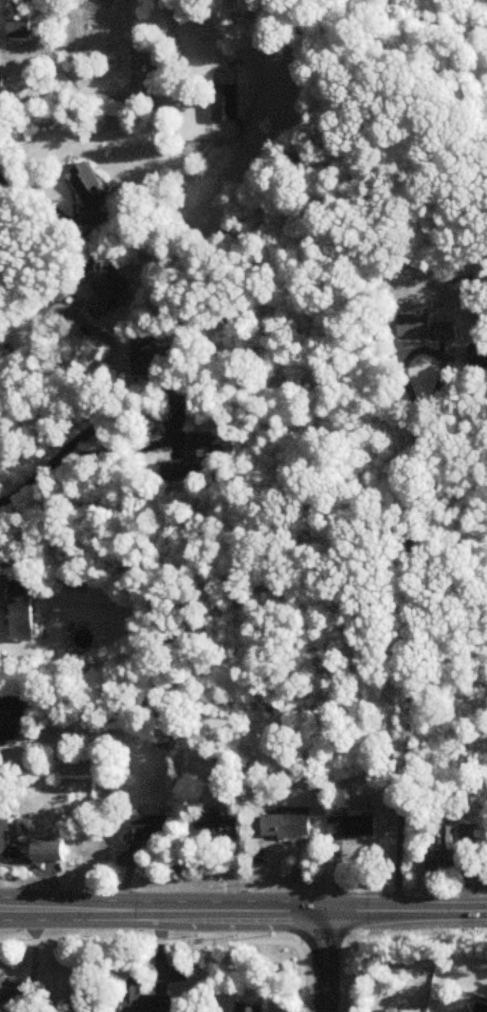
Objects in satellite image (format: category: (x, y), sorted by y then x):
building: (20, 30)
building: (2, 86)
building: (226, 104)
building: (91, 193)
road: (35, 199)
building: (110, 289)
road: (29, 308)
building: (426, 329)
building: (156, 357)
building: (179, 401)
road: (169, 425)
building: (198, 461)
road: (30, 484)
road: (408, 576)
building: (25, 613)
building: (15, 720)
building: (290, 827)
building: (351, 827)
building: (218, 828)
building: (150, 830)
building: (467, 834)
building: (5, 839)
building: (53, 852)
building: (441, 852)
road: (40, 874)
road: (407, 910)
road: (163, 911)
road: (325, 961)
building: (16, 994)
building: (144, 1000)
building: (250, 1008)

